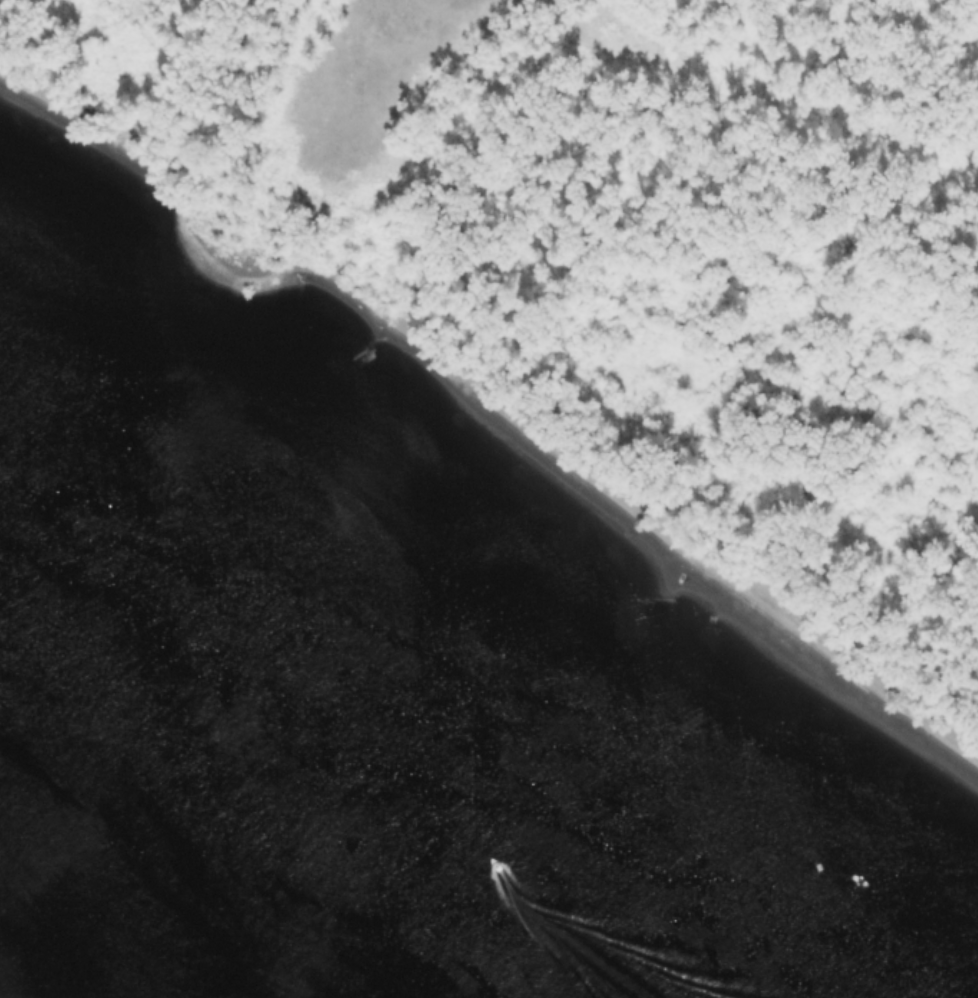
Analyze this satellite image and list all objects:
river: (287, 784)

